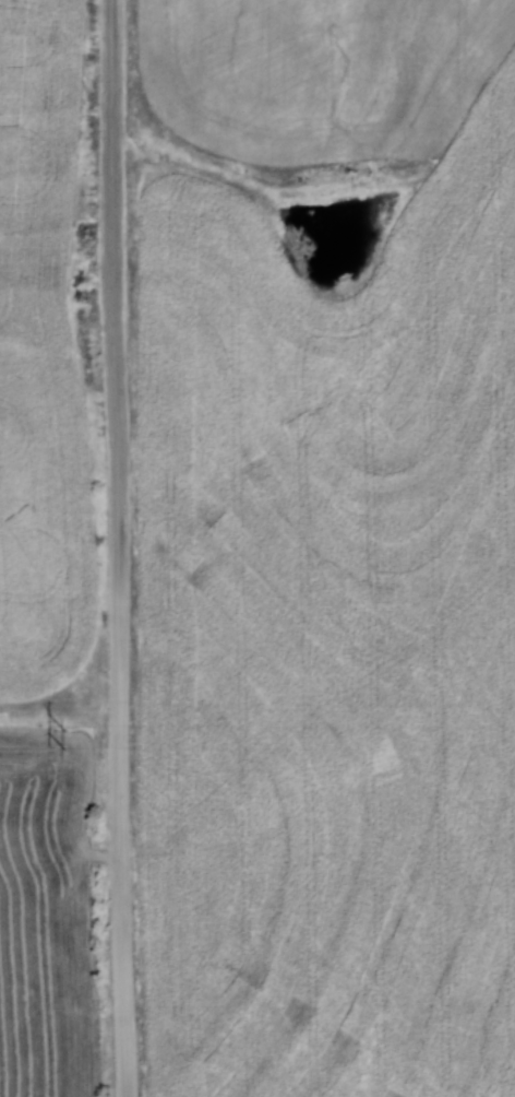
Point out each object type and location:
road: (118, 548)
power tower: (64, 736)

